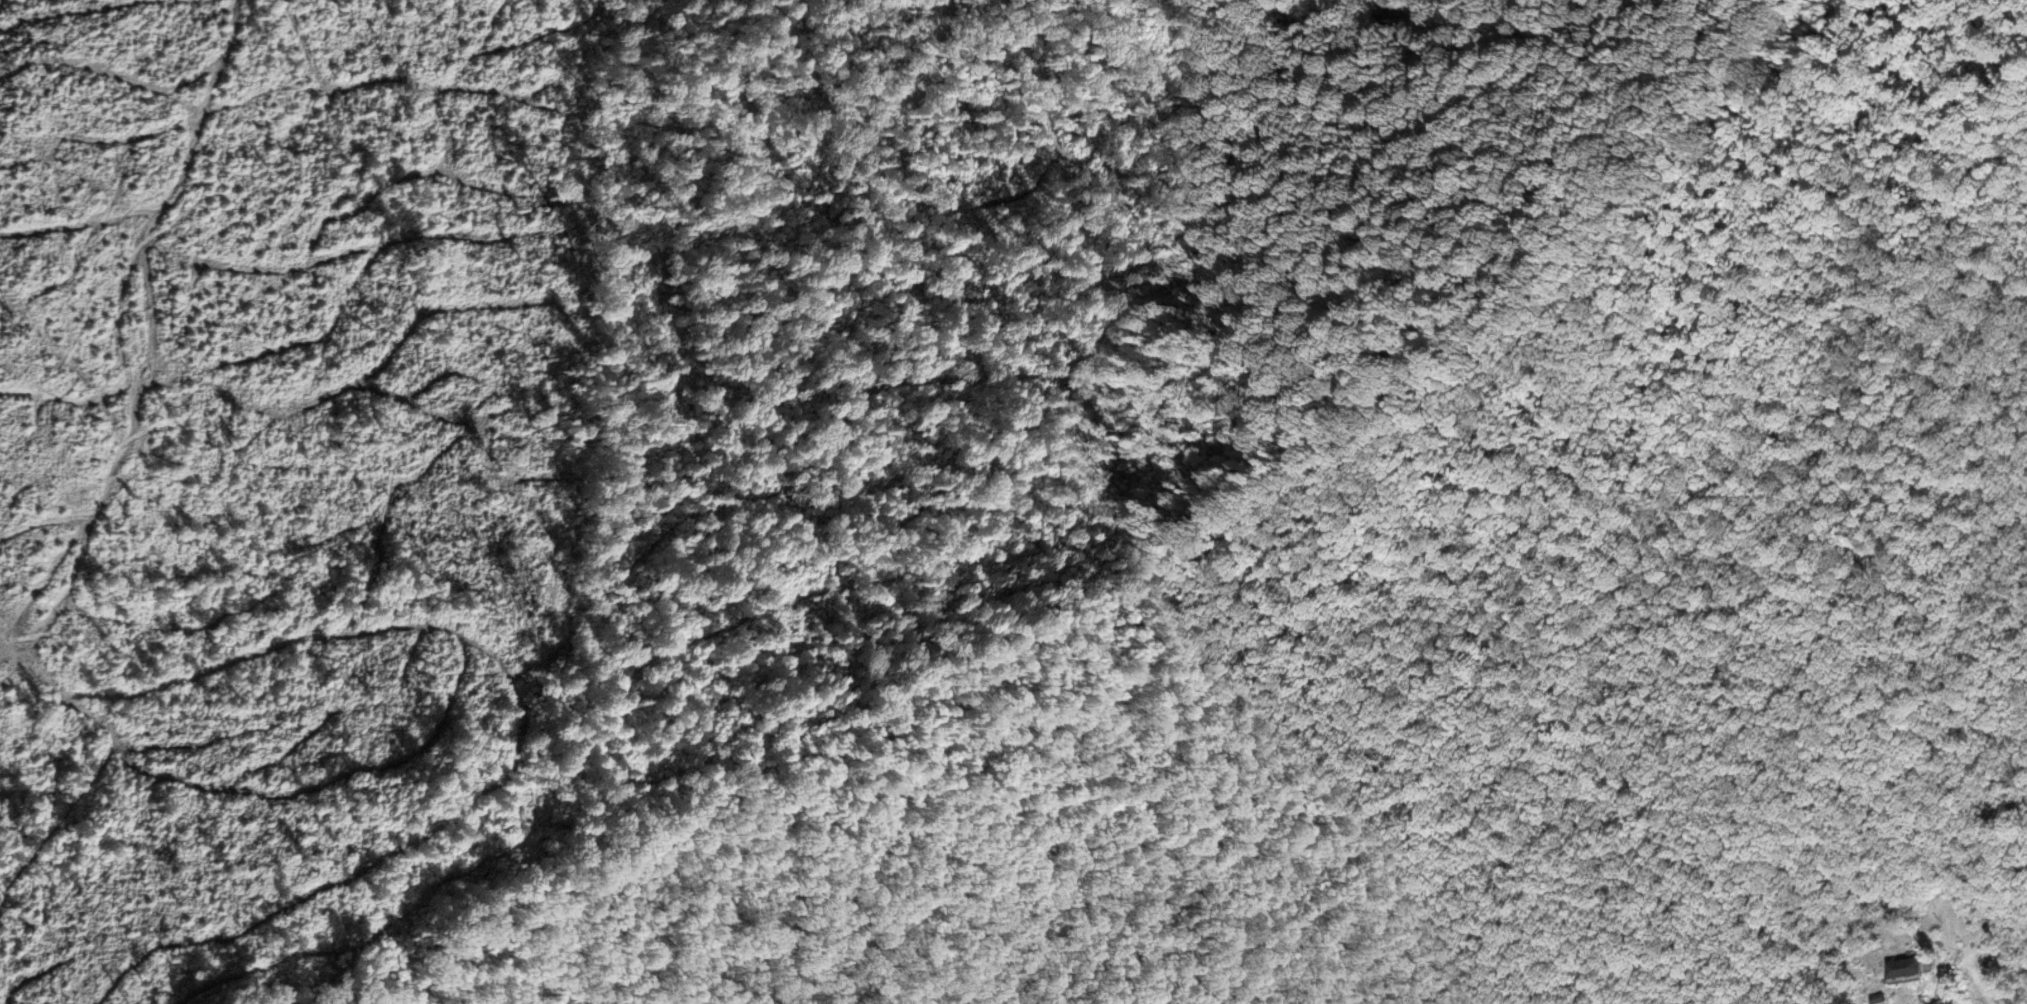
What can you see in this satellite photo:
building: (1904, 969)

